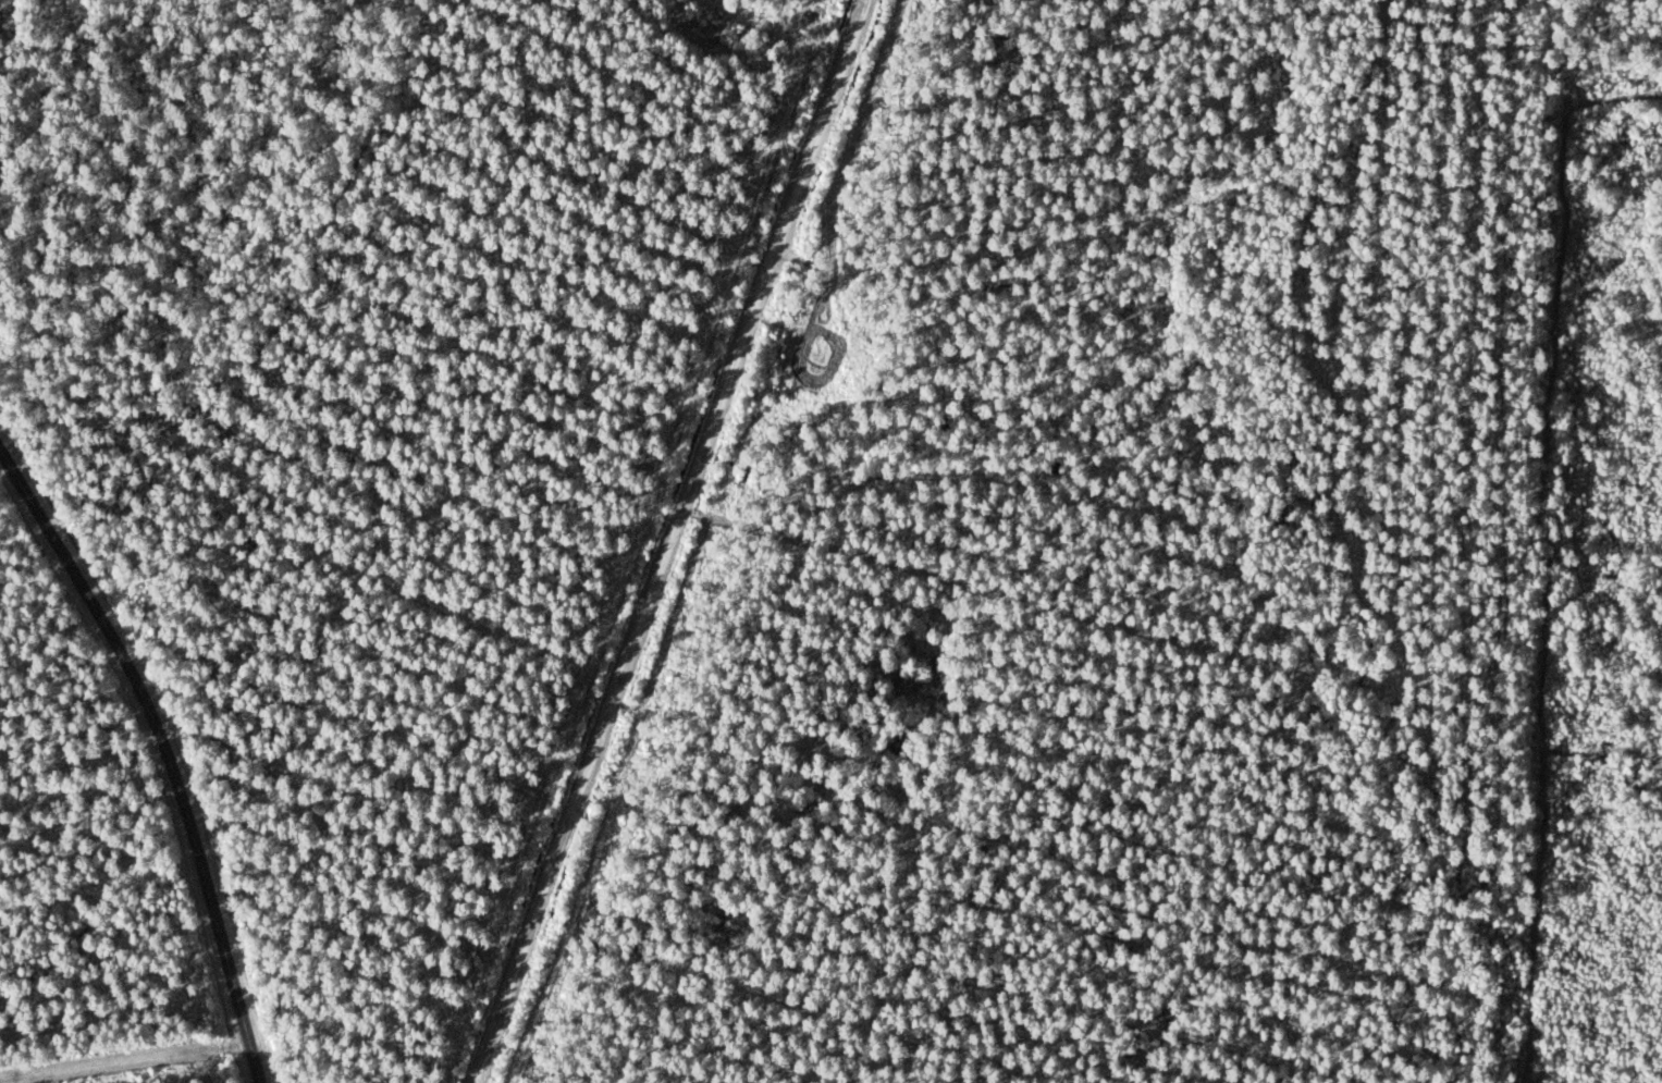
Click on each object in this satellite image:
road: (670, 541)
road: (160, 752)

